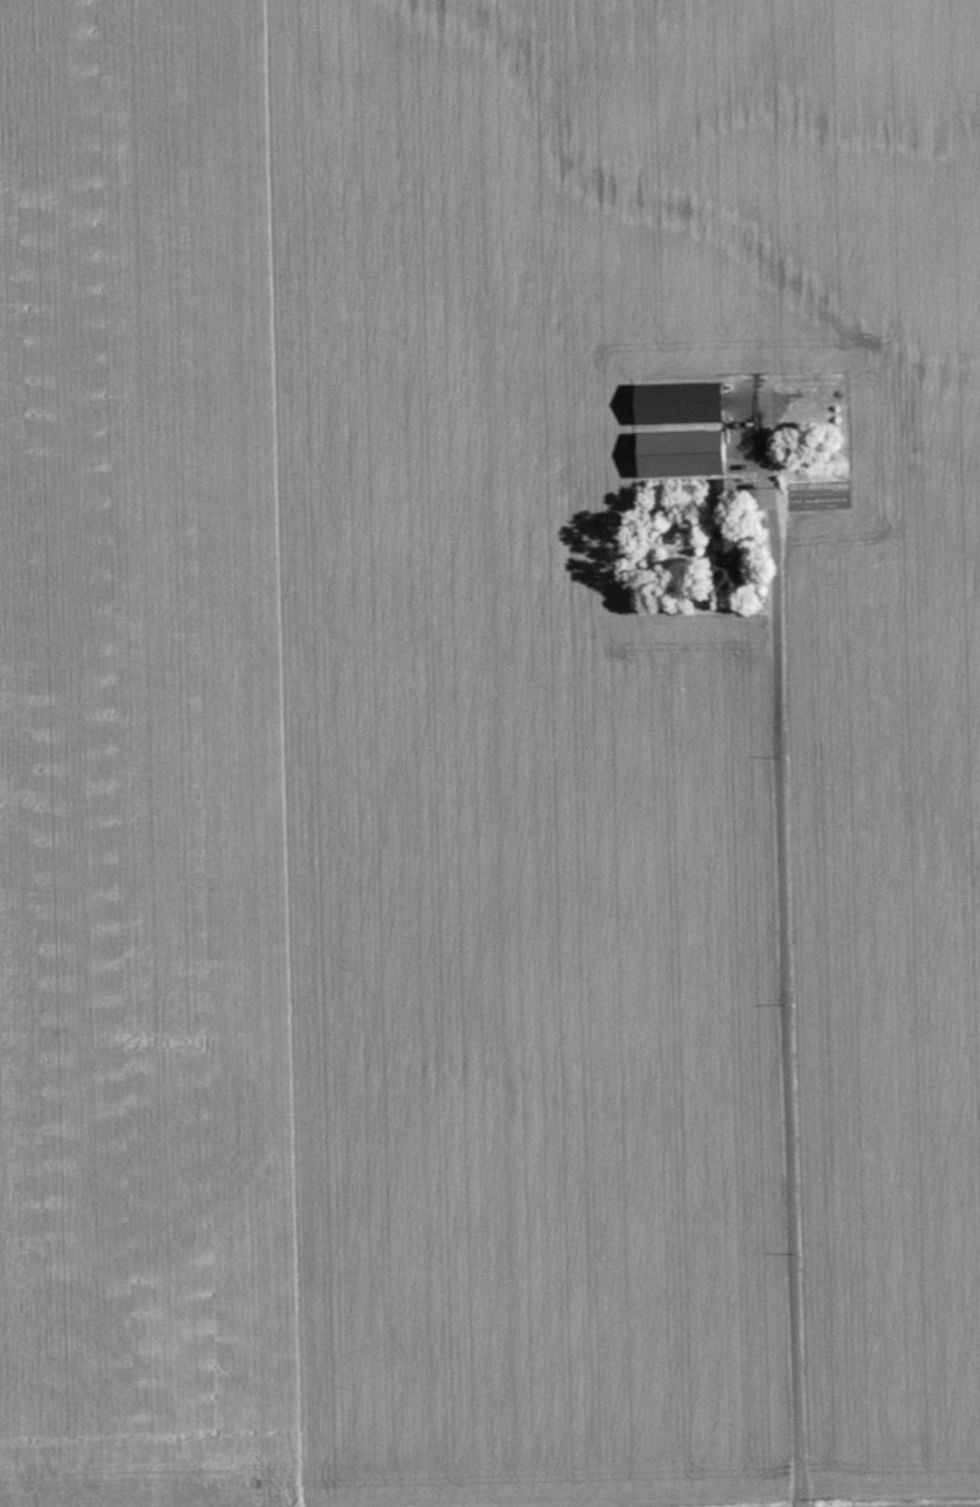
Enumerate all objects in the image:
building: (683, 403)
building: (685, 453)
building: (727, 499)
building: (728, 557)
road: (796, 1039)

